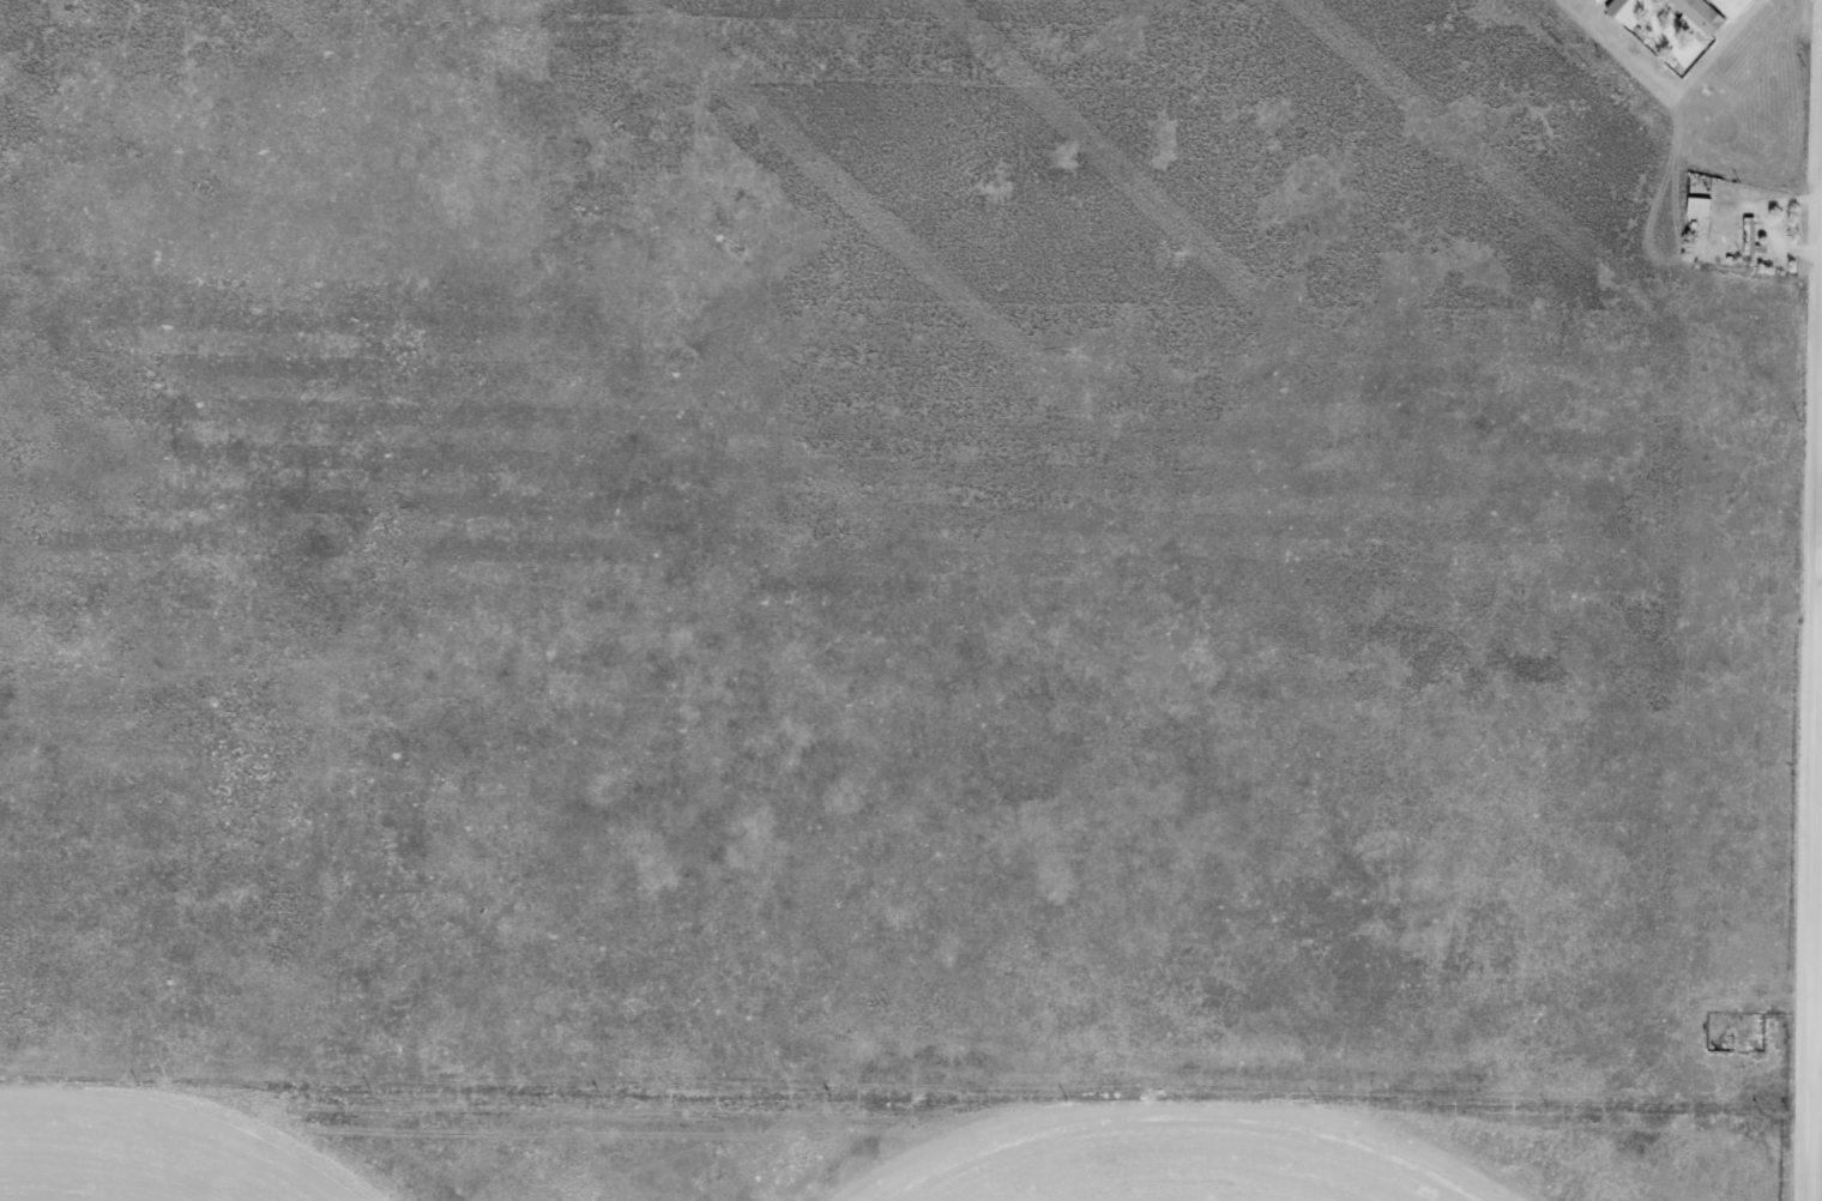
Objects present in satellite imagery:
building: (1629, 11)
building: (1701, 16)
building: (1748, 237)
road: (1816, 909)

